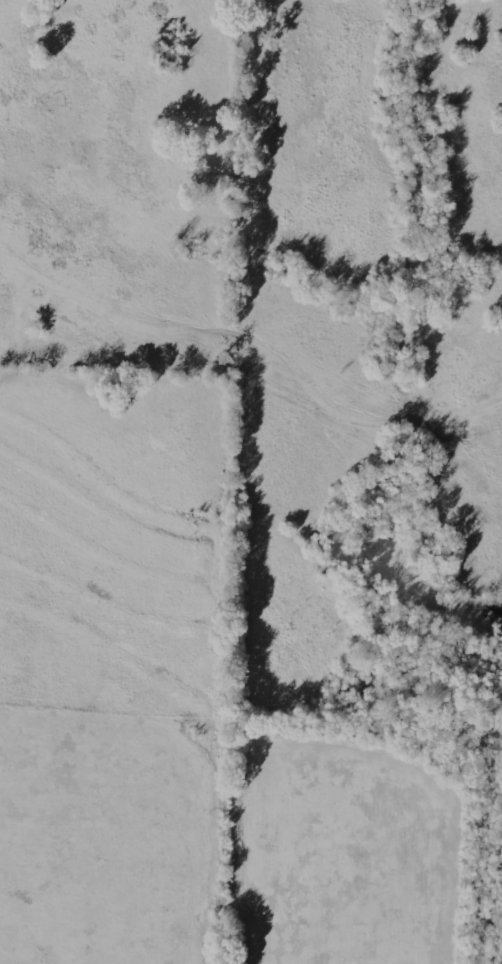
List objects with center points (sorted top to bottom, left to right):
road: (241, 367)

